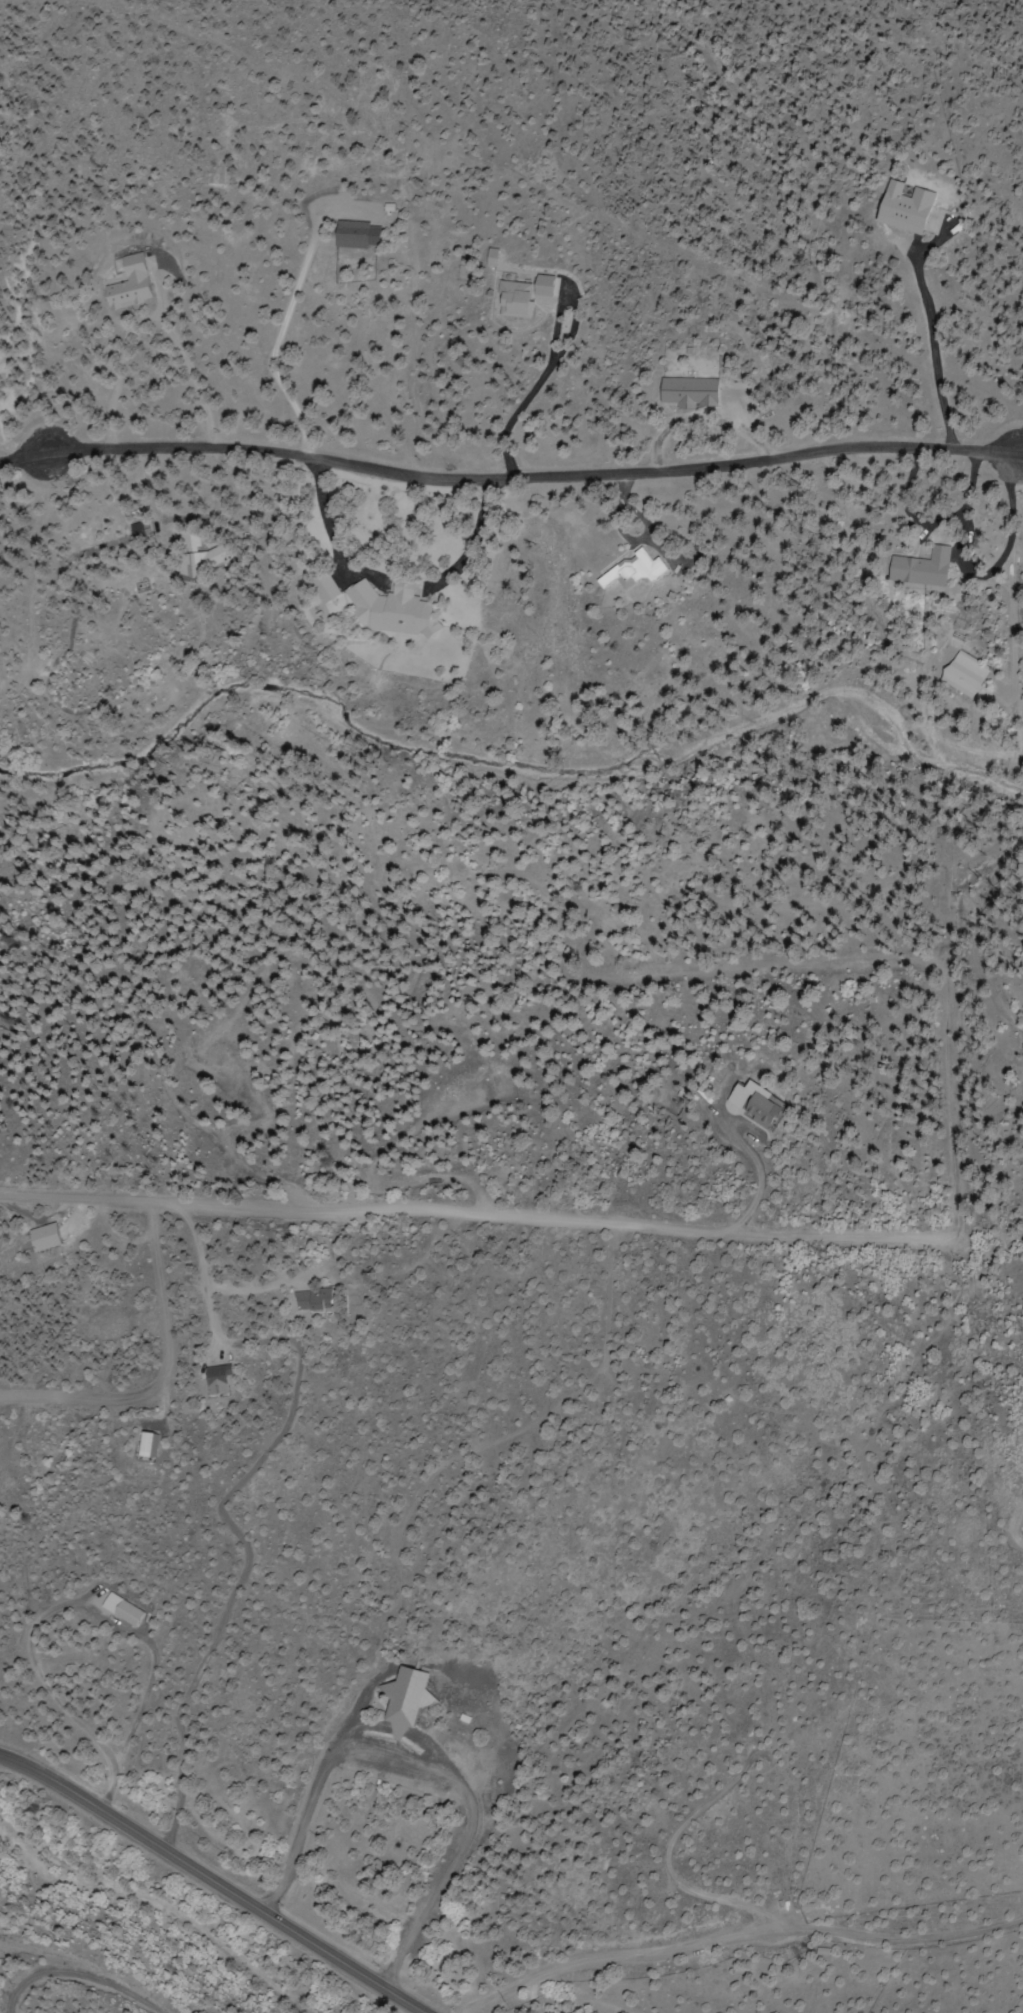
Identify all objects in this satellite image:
building: (899, 206)
building: (346, 234)
building: (124, 285)
building: (516, 295)
building: (686, 392)
building: (193, 560)
building: (914, 568)
building: (625, 570)
building: (317, 588)
building: (384, 608)
building: (753, 1104)
road: (868, 1141)
road: (438, 1210)
building: (54, 1237)
building: (311, 1300)
building: (213, 1380)
building: (157, 1444)
building: (127, 1611)
building: (403, 1700)
road: (214, 1882)

